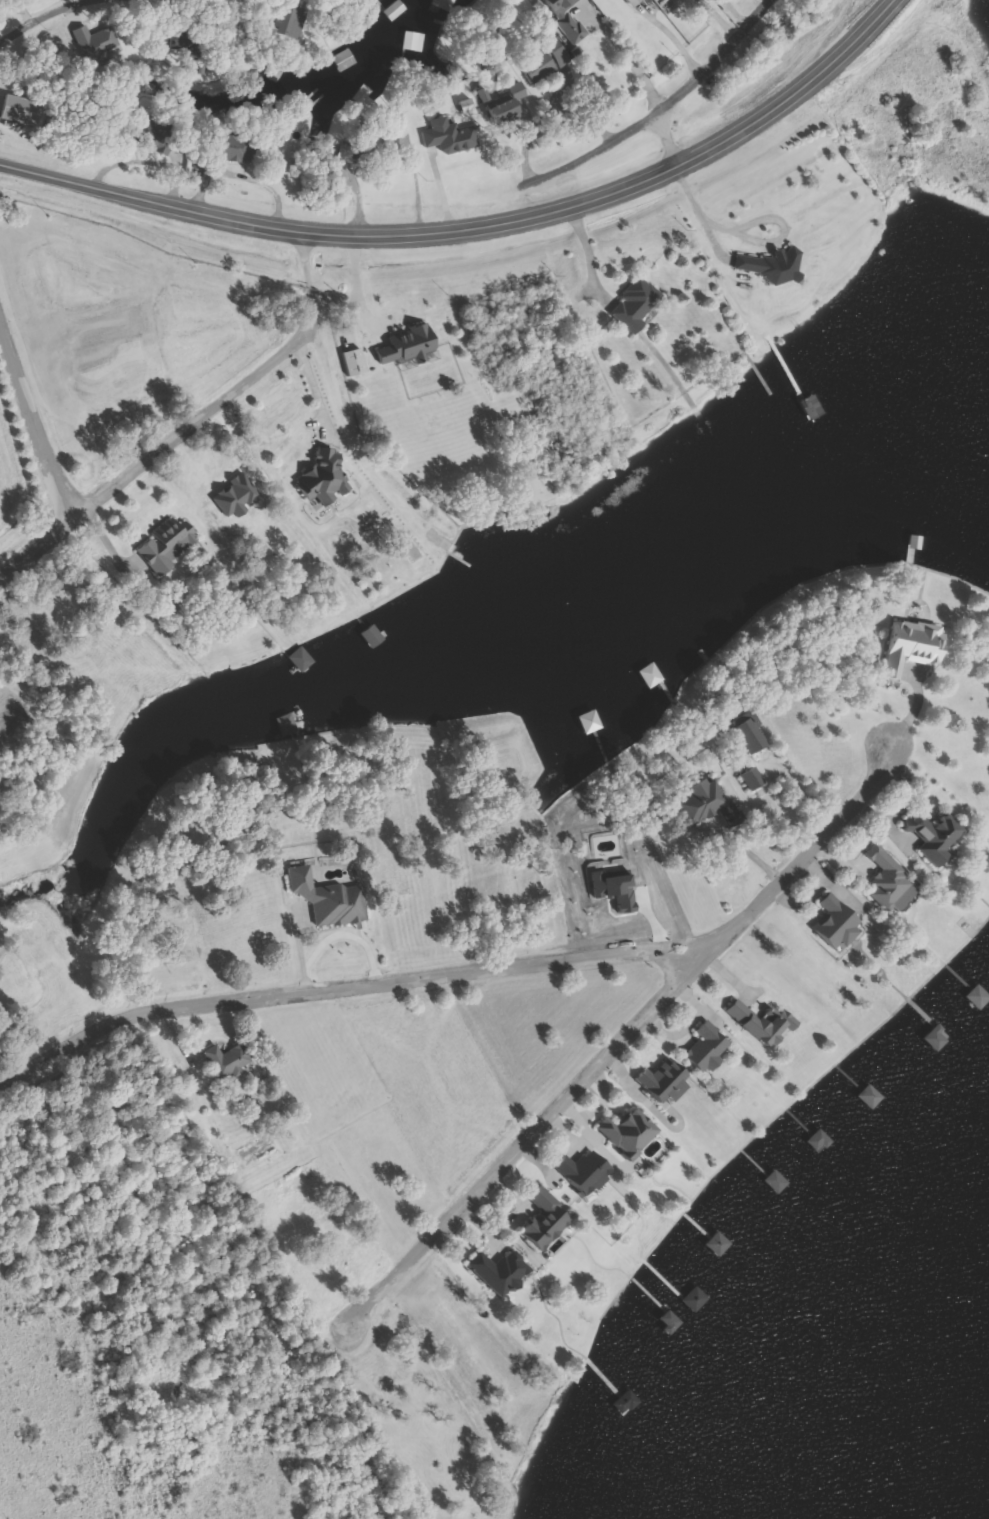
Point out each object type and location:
building: (631, 2)
building: (442, 5)
building: (396, 10)
road: (42, 16)
building: (564, 18)
building: (291, 21)
building: (414, 41)
building: (544, 58)
building: (345, 60)
building: (507, 104)
road: (654, 109)
building: (450, 136)
road: (663, 138)
building: (238, 148)
building: (346, 153)
road: (471, 228)
building: (775, 264)
building: (637, 303)
road: (194, 424)
road: (30, 426)
building: (169, 546)
building: (375, 636)
building: (915, 644)
building: (302, 658)
building: (287, 724)
building: (753, 732)
building: (757, 778)
building: (710, 803)
building: (937, 836)
building: (891, 881)
building: (331, 898)
building: (835, 924)
road: (345, 990)
building: (980, 998)
building: (762, 1025)
road: (624, 1037)
building: (941, 1038)
building: (709, 1046)
building: (229, 1059)
building: (667, 1080)
building: (874, 1096)
building: (632, 1132)
building: (824, 1141)
building: (588, 1171)
building: (781, 1182)
building: (548, 1221)
building: (723, 1244)
building: (502, 1271)
building: (700, 1300)
building: (631, 1403)

